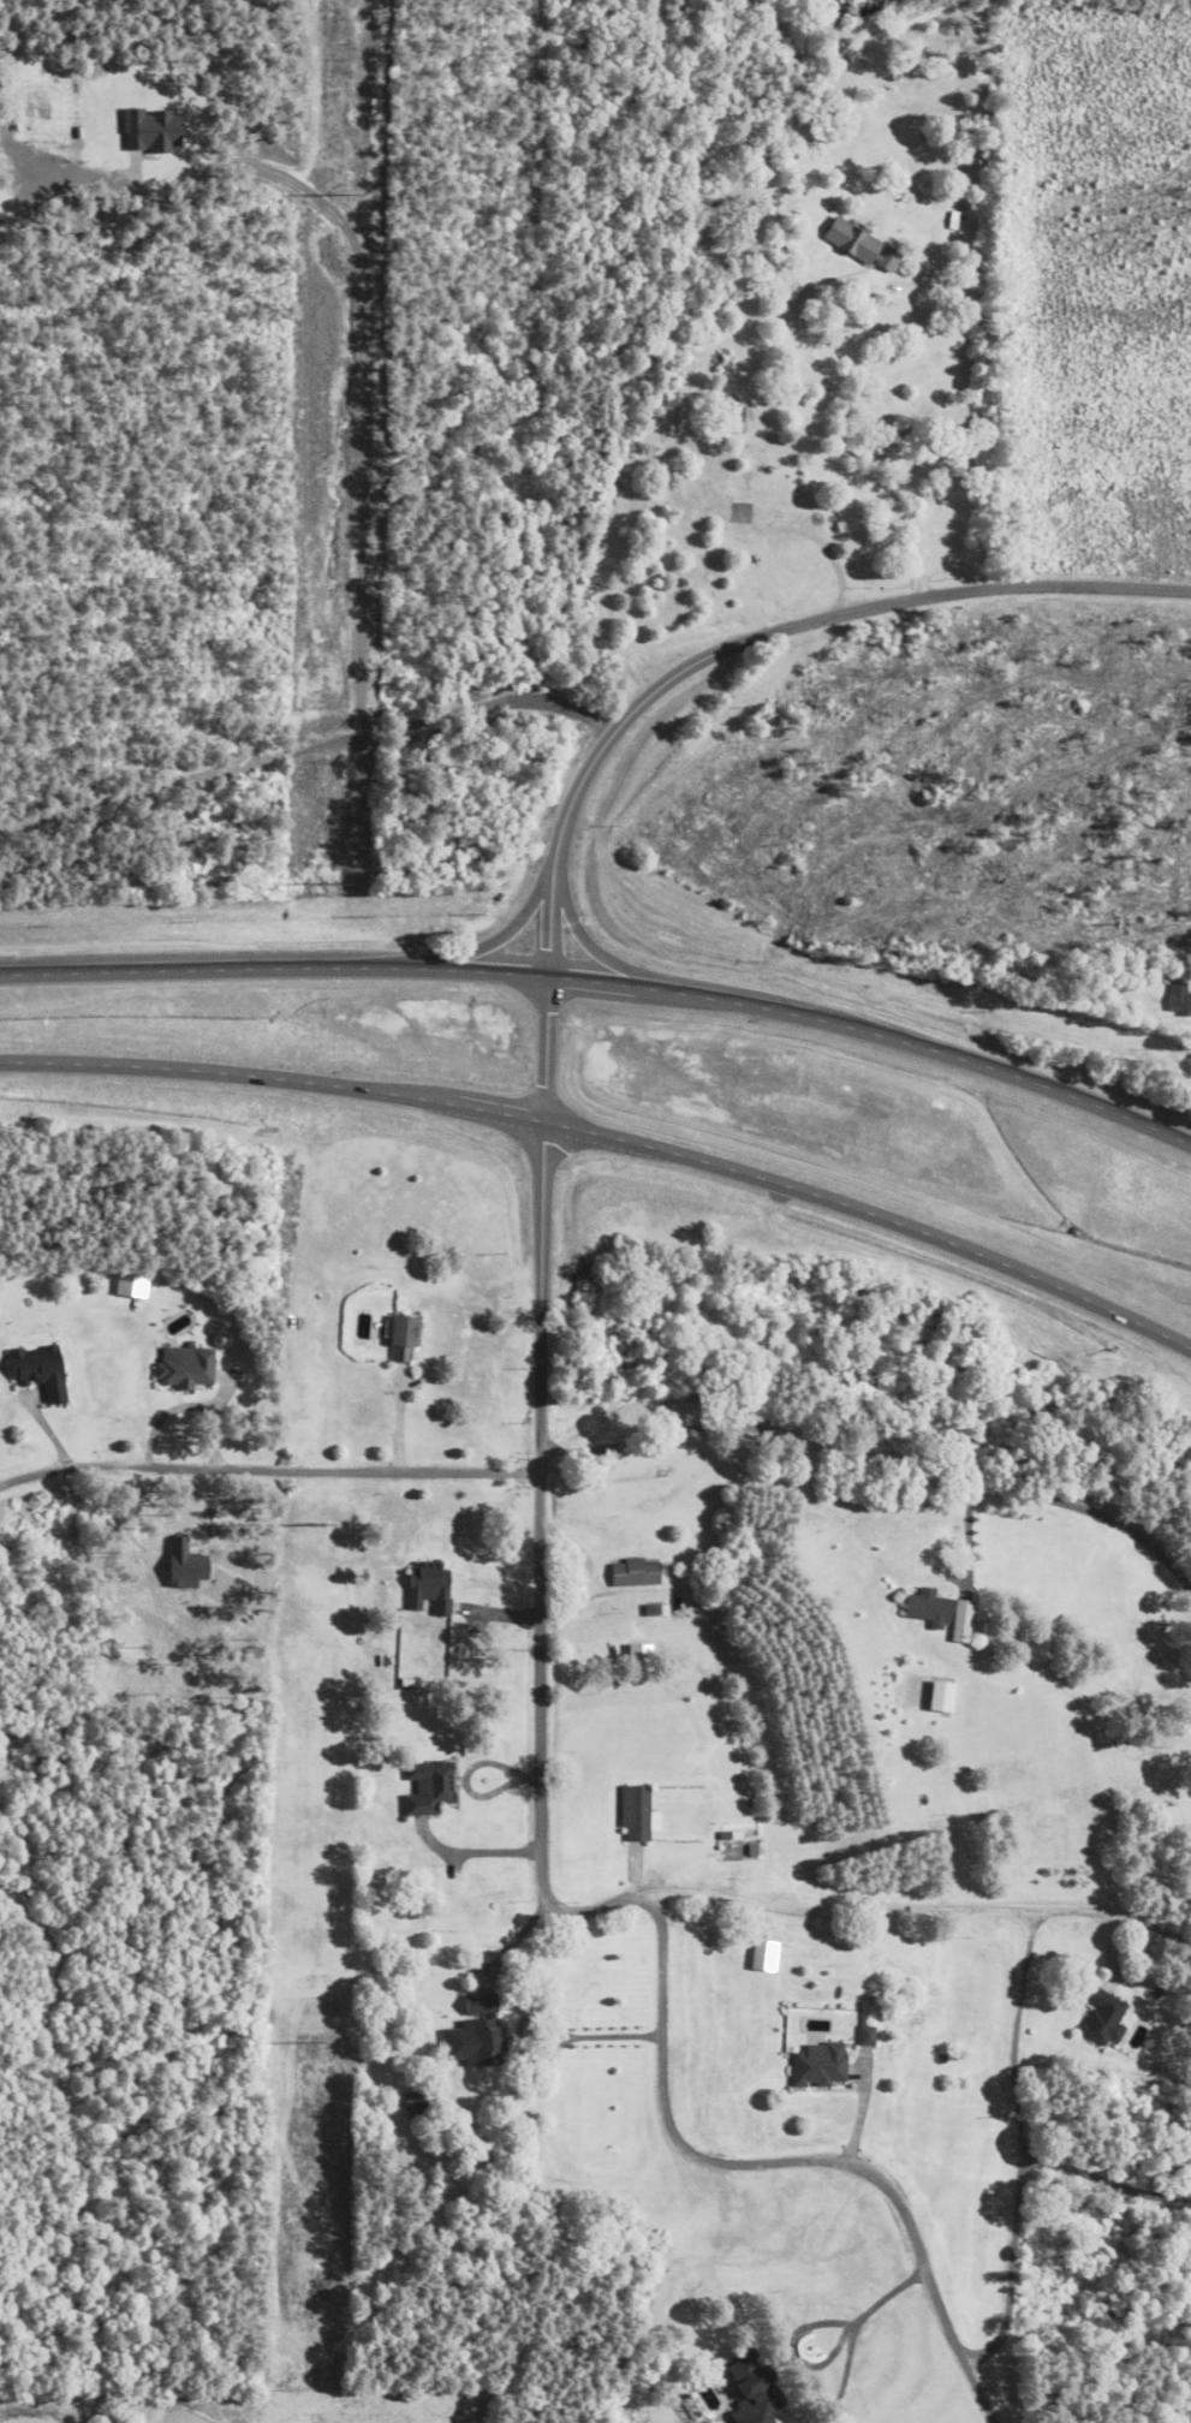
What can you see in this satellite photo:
building: (863, 246)
road: (717, 345)
building: (736, 417)
road: (603, 721)
road: (558, 845)
road: (607, 986)
building: (1180, 999)
road: (611, 1138)
building: (405, 1338)
building: (185, 1368)
building: (41, 1371)
road: (189, 1405)
road: (882, 1452)
road: (275, 1469)
road: (554, 1520)
building: (636, 1573)
building: (430, 1588)
building: (929, 1607)
building: (429, 1787)
building: (636, 1814)
road: (607, 1901)
road: (889, 1912)
road: (1156, 1929)
building: (1104, 2019)
building: (484, 2030)
road: (609, 2037)
building: (822, 2066)
building: (417, 2103)
building: (404, 2143)
road: (1022, 2153)
road: (743, 2167)
road: (830, 2356)
road: (975, 2389)
building: (756, 2391)

